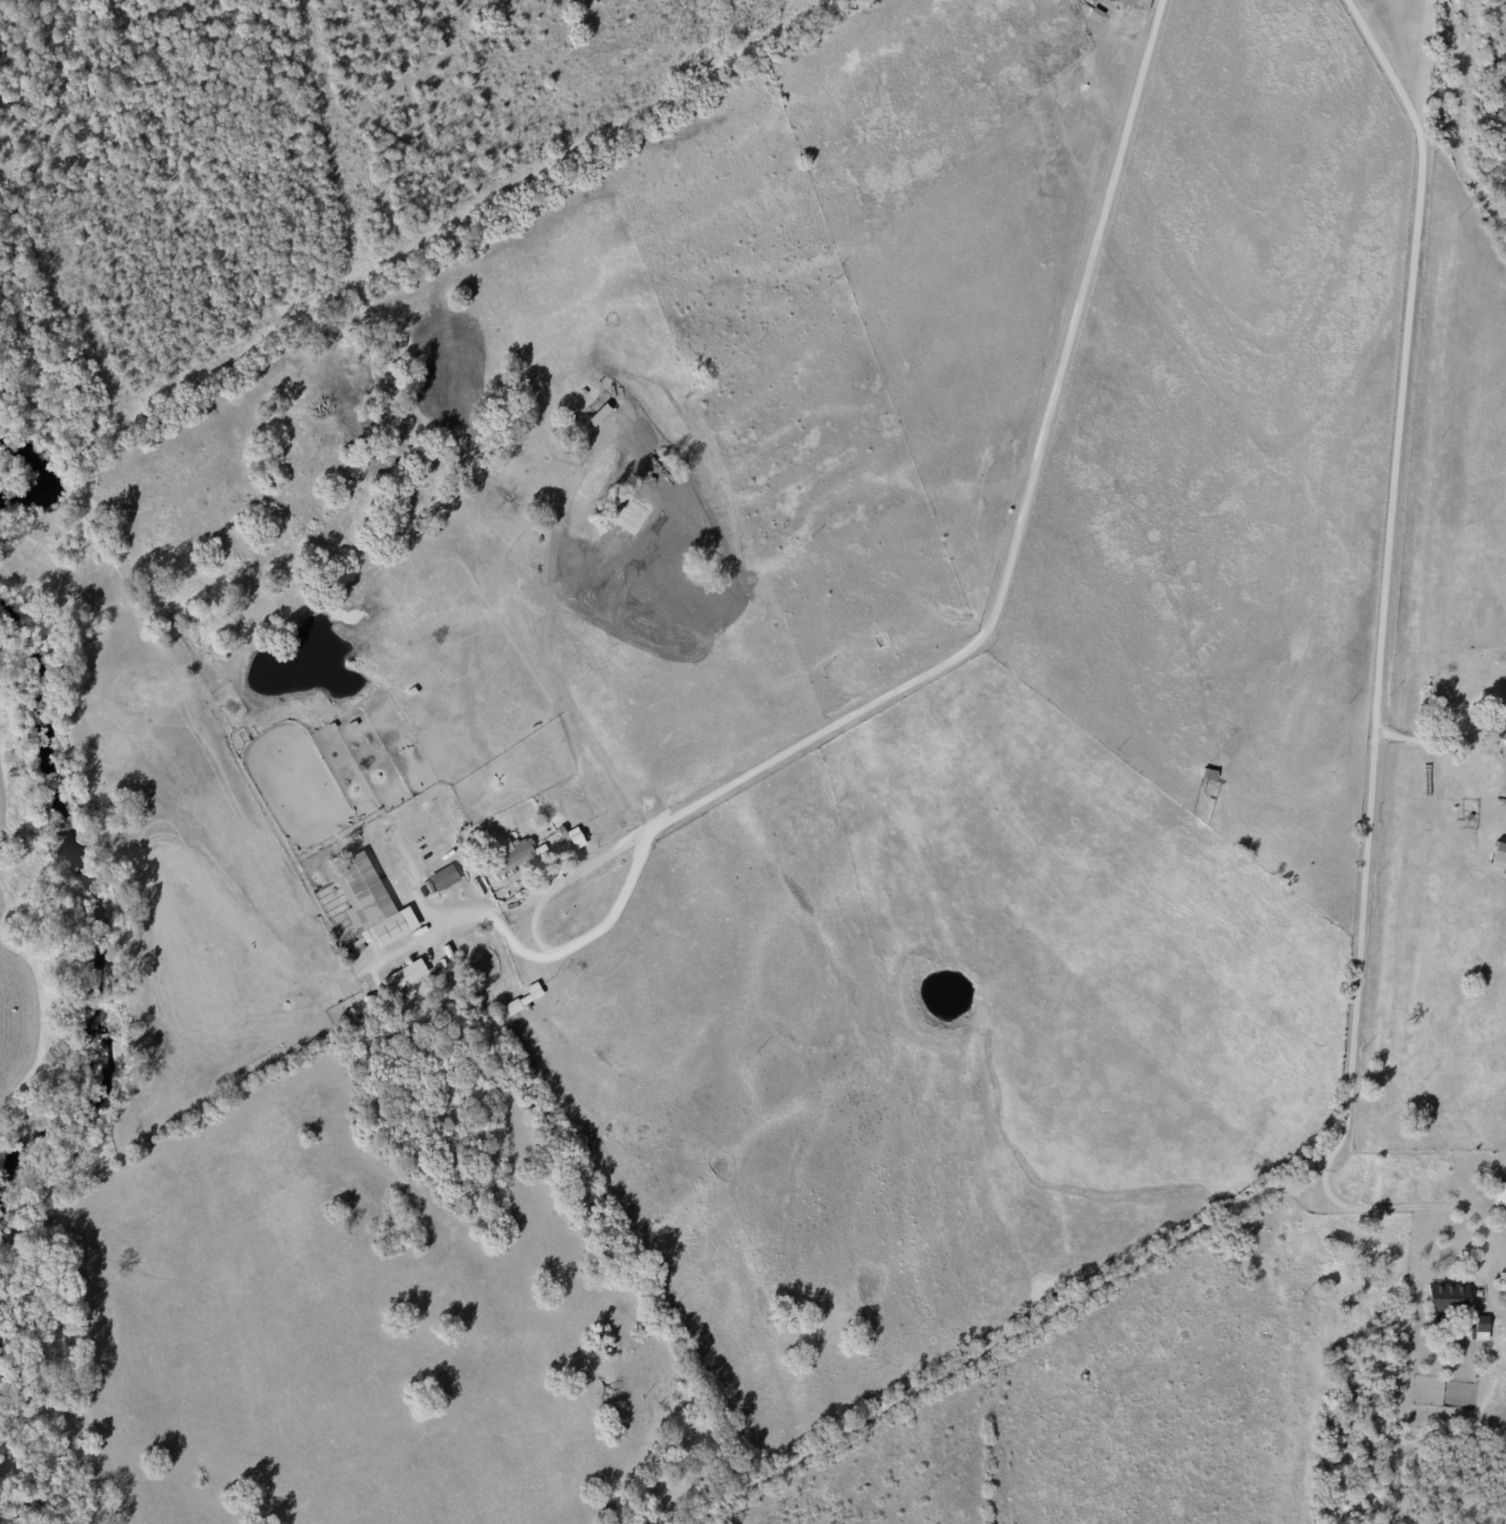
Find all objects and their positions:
building: (1125, 1)
road: (972, 639)
building: (1504, 715)
building: (1502, 739)
road: (1419, 741)
building: (574, 837)
building: (522, 854)
building: (1496, 857)
building: (446, 878)
building: (373, 902)
road: (1357, 939)
road: (405, 948)
road: (492, 953)
building: (407, 977)
building: (1498, 1194)
road: (1423, 1209)
building: (1444, 1298)
building: (1479, 1328)
road: (827, 1391)

